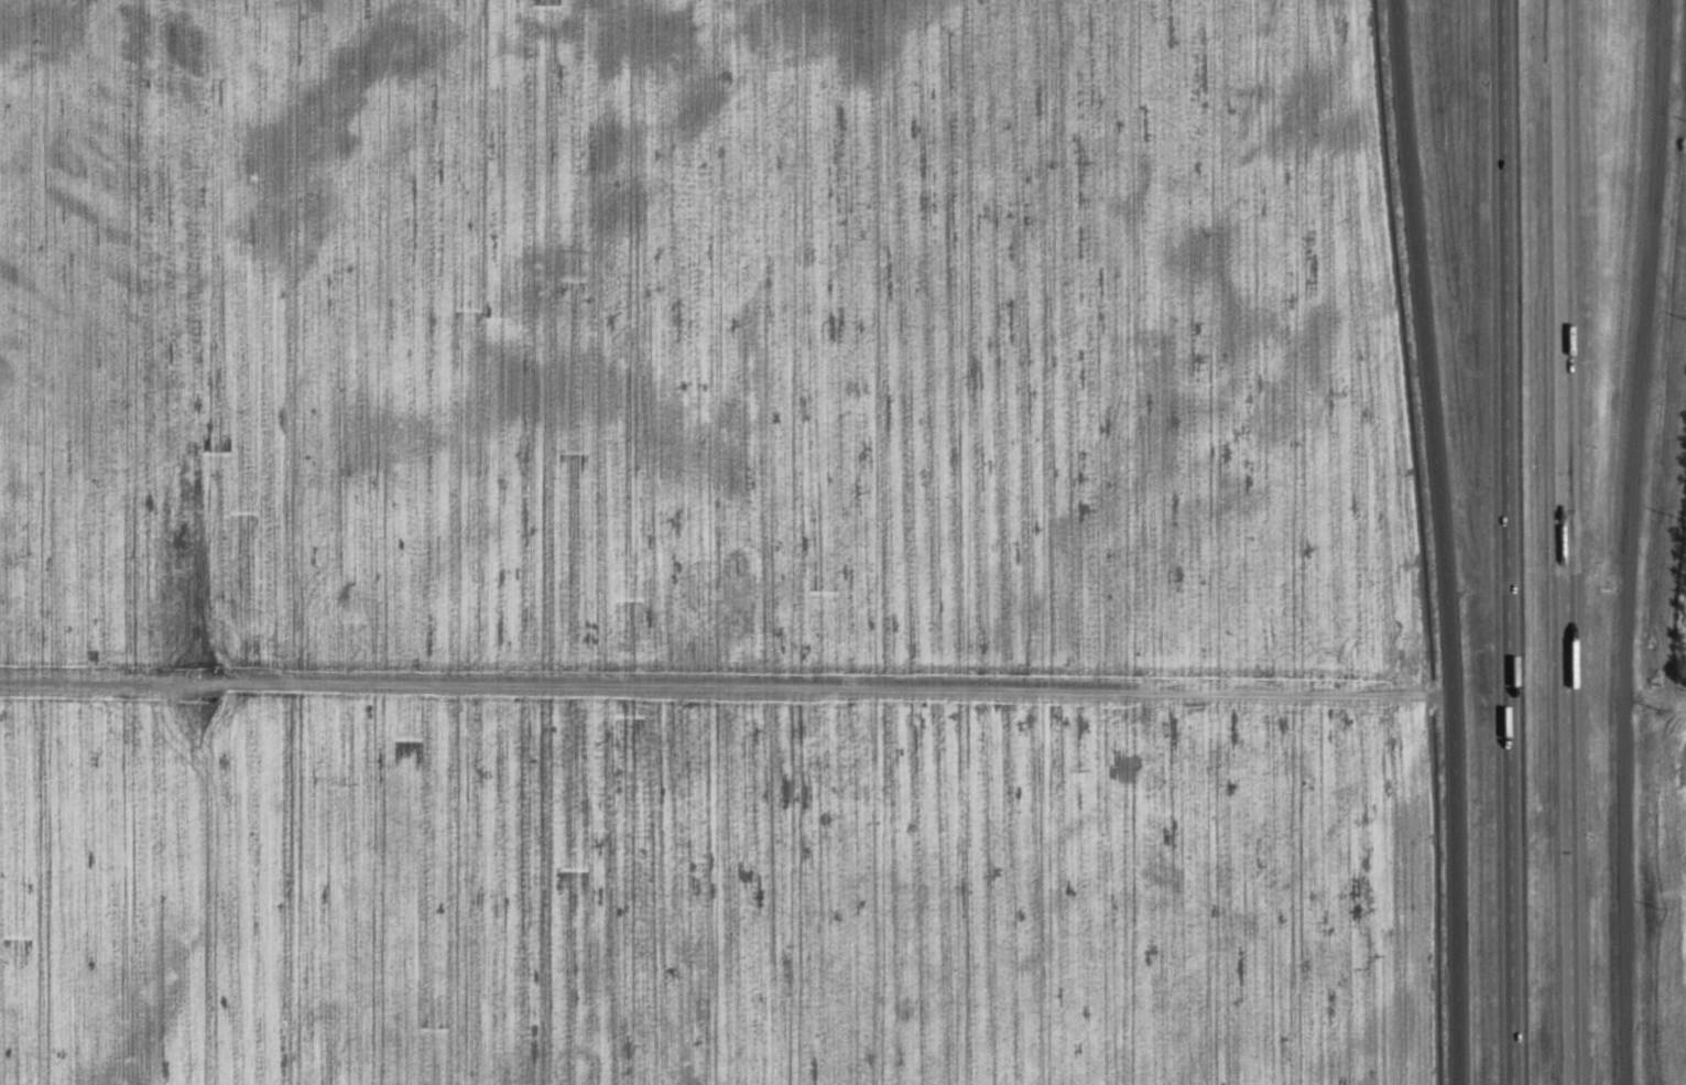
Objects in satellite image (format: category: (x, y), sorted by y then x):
road: (1443, 541)
road: (1634, 541)
road: (1509, 542)
road: (1569, 542)
road: (1113, 688)
road: (1544, 828)

